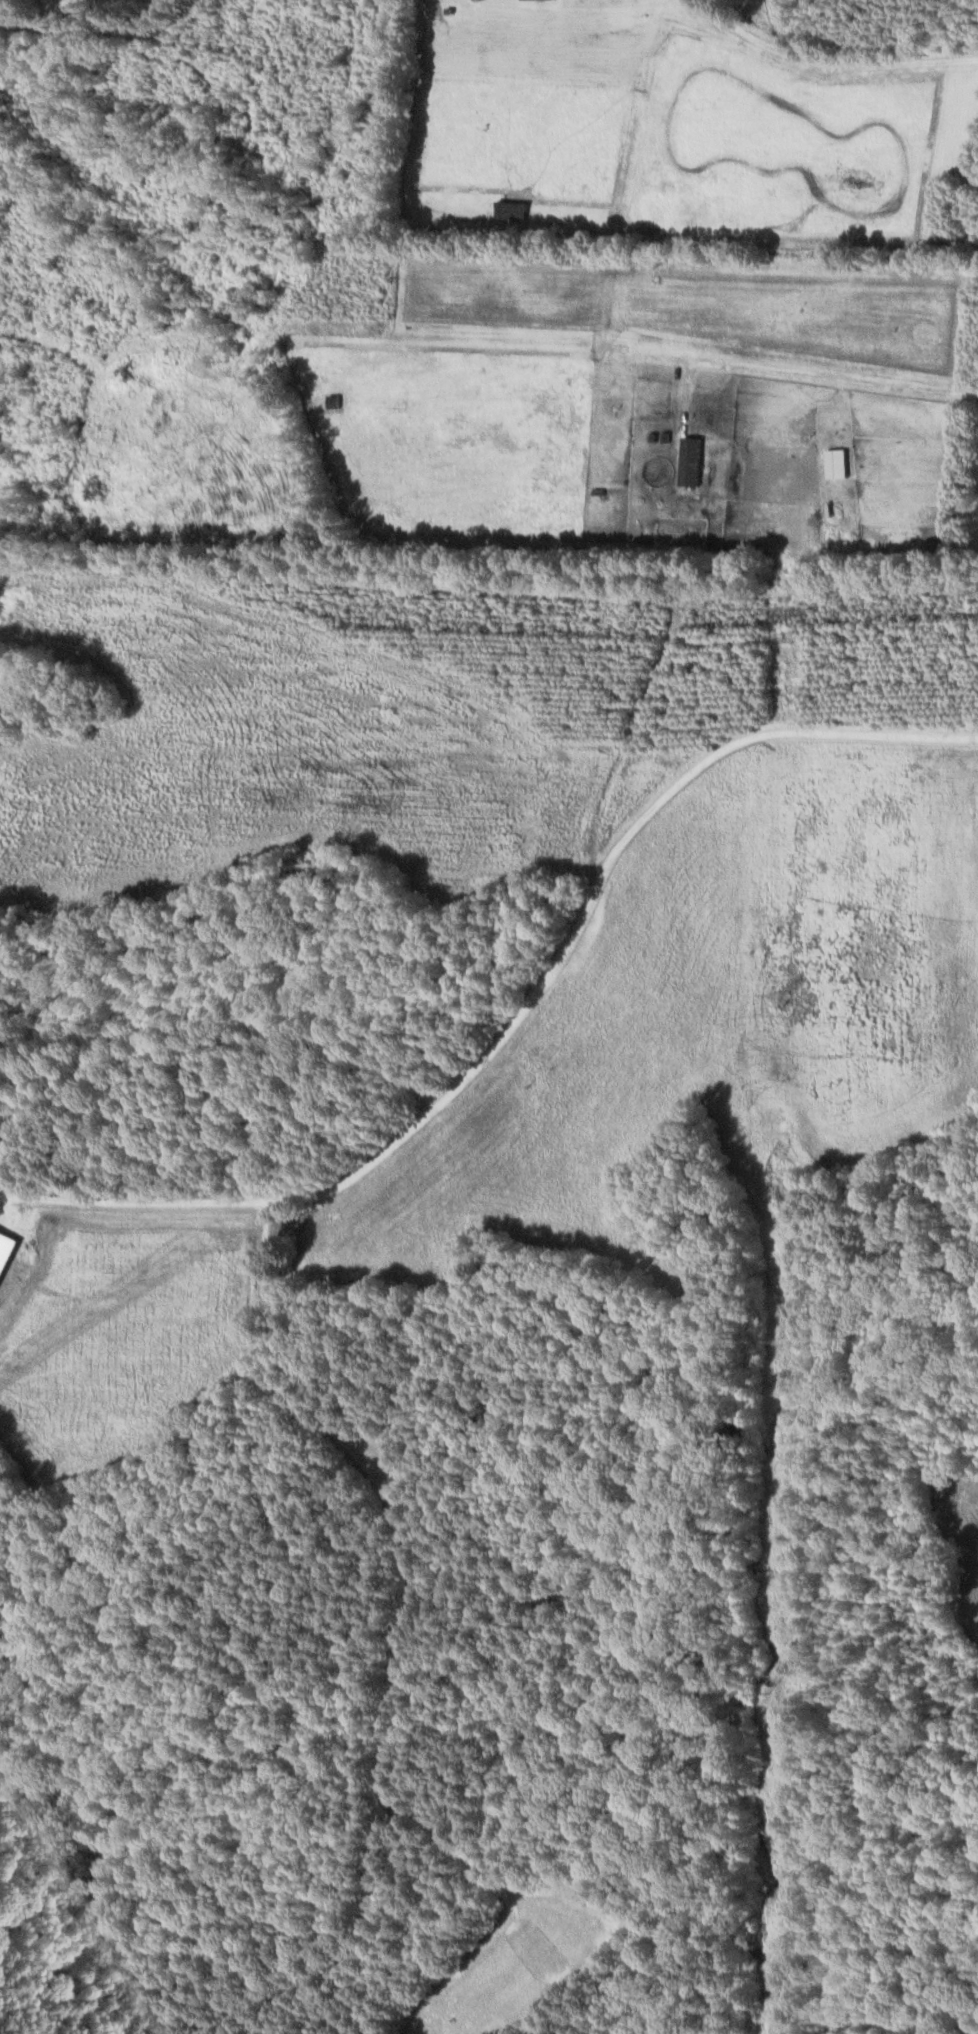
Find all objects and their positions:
road: (831, 60)
power tower: (796, 227)
building: (692, 459)
building: (838, 461)
road: (847, 590)
power tower: (794, 635)
power tower: (790, 998)
building: (1, 1274)
power tower: (781, 1347)
power tower: (782, 1960)

